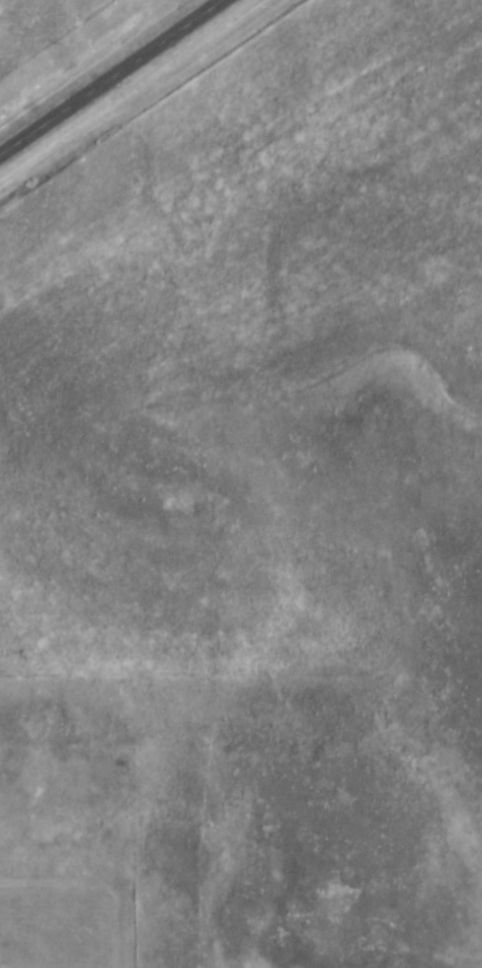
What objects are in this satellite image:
road: (111, 77)
park: (66, 922)

